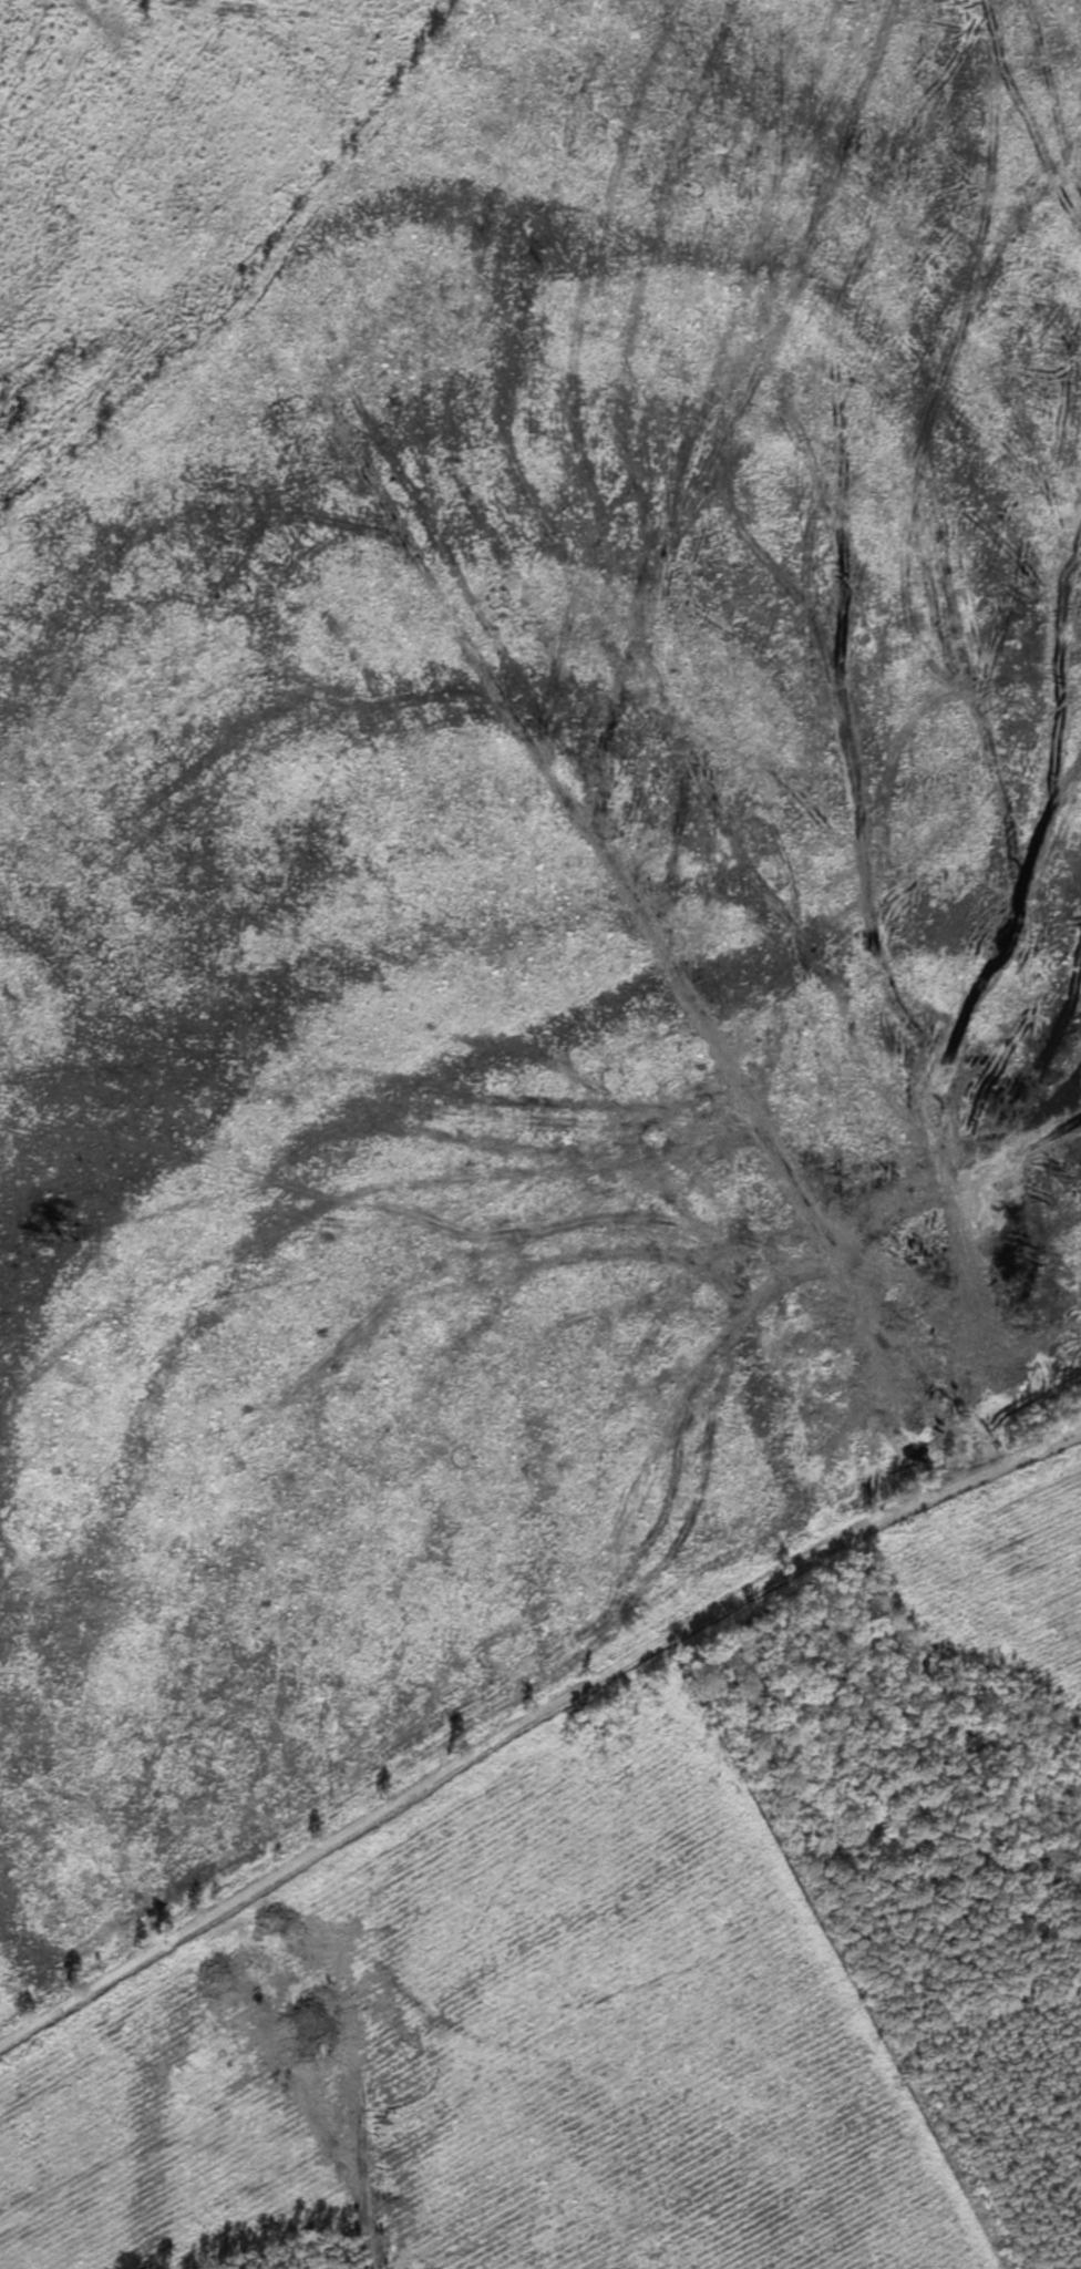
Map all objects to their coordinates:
road: (531, 1717)

